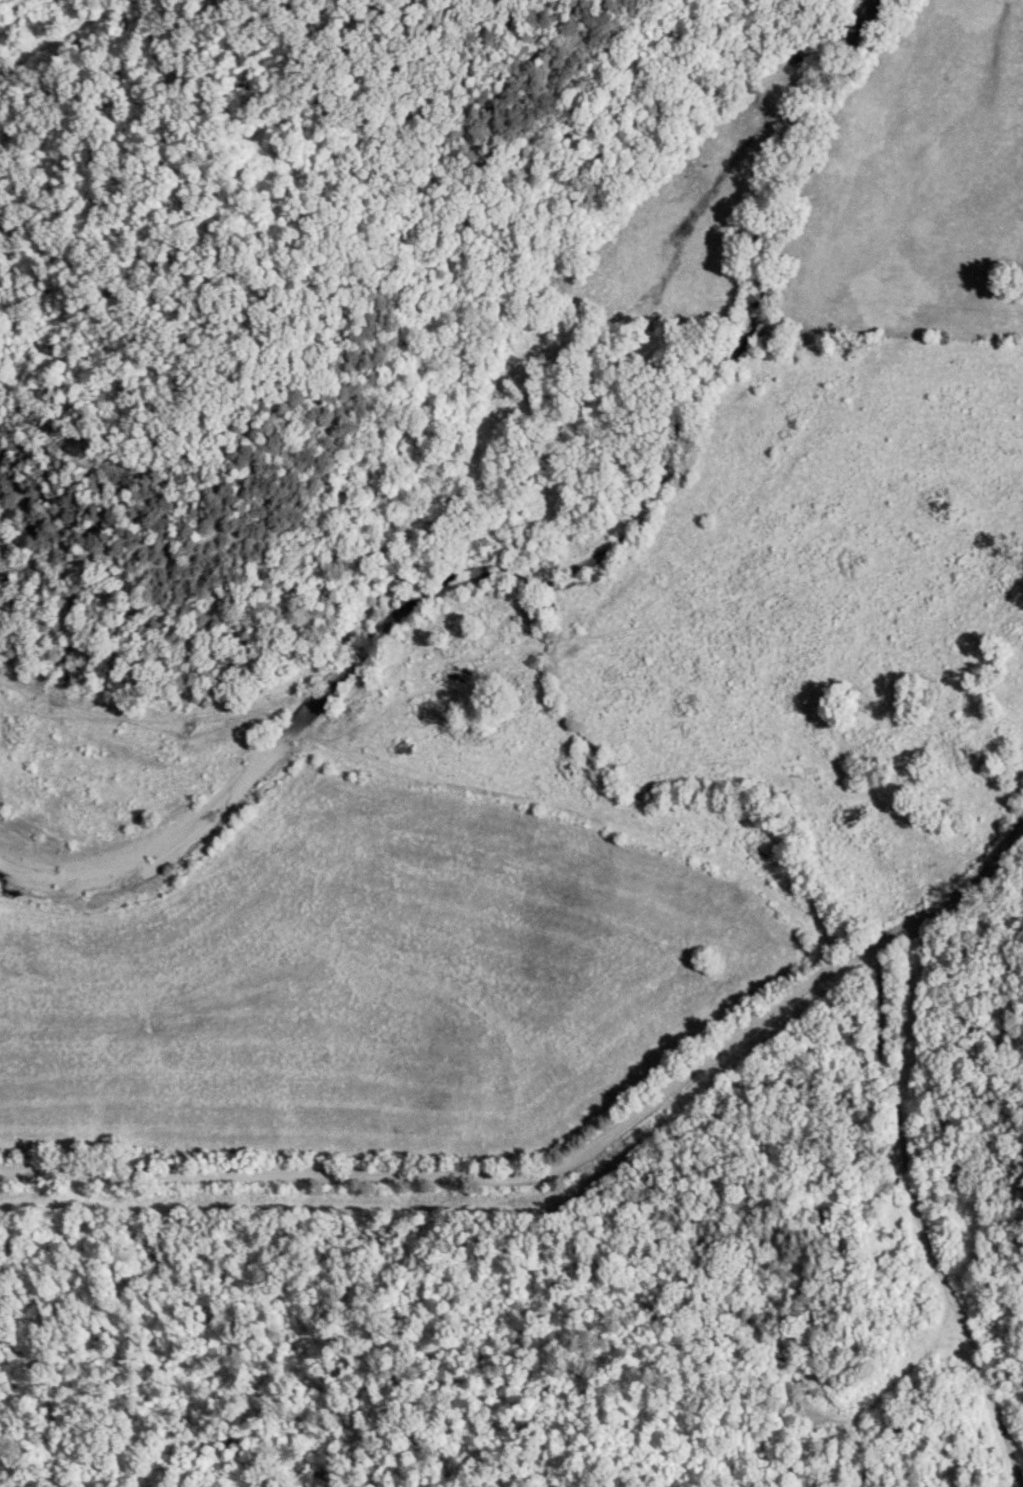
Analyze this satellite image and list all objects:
road: (569, 1162)
road: (919, 1224)
road: (33, 1316)

